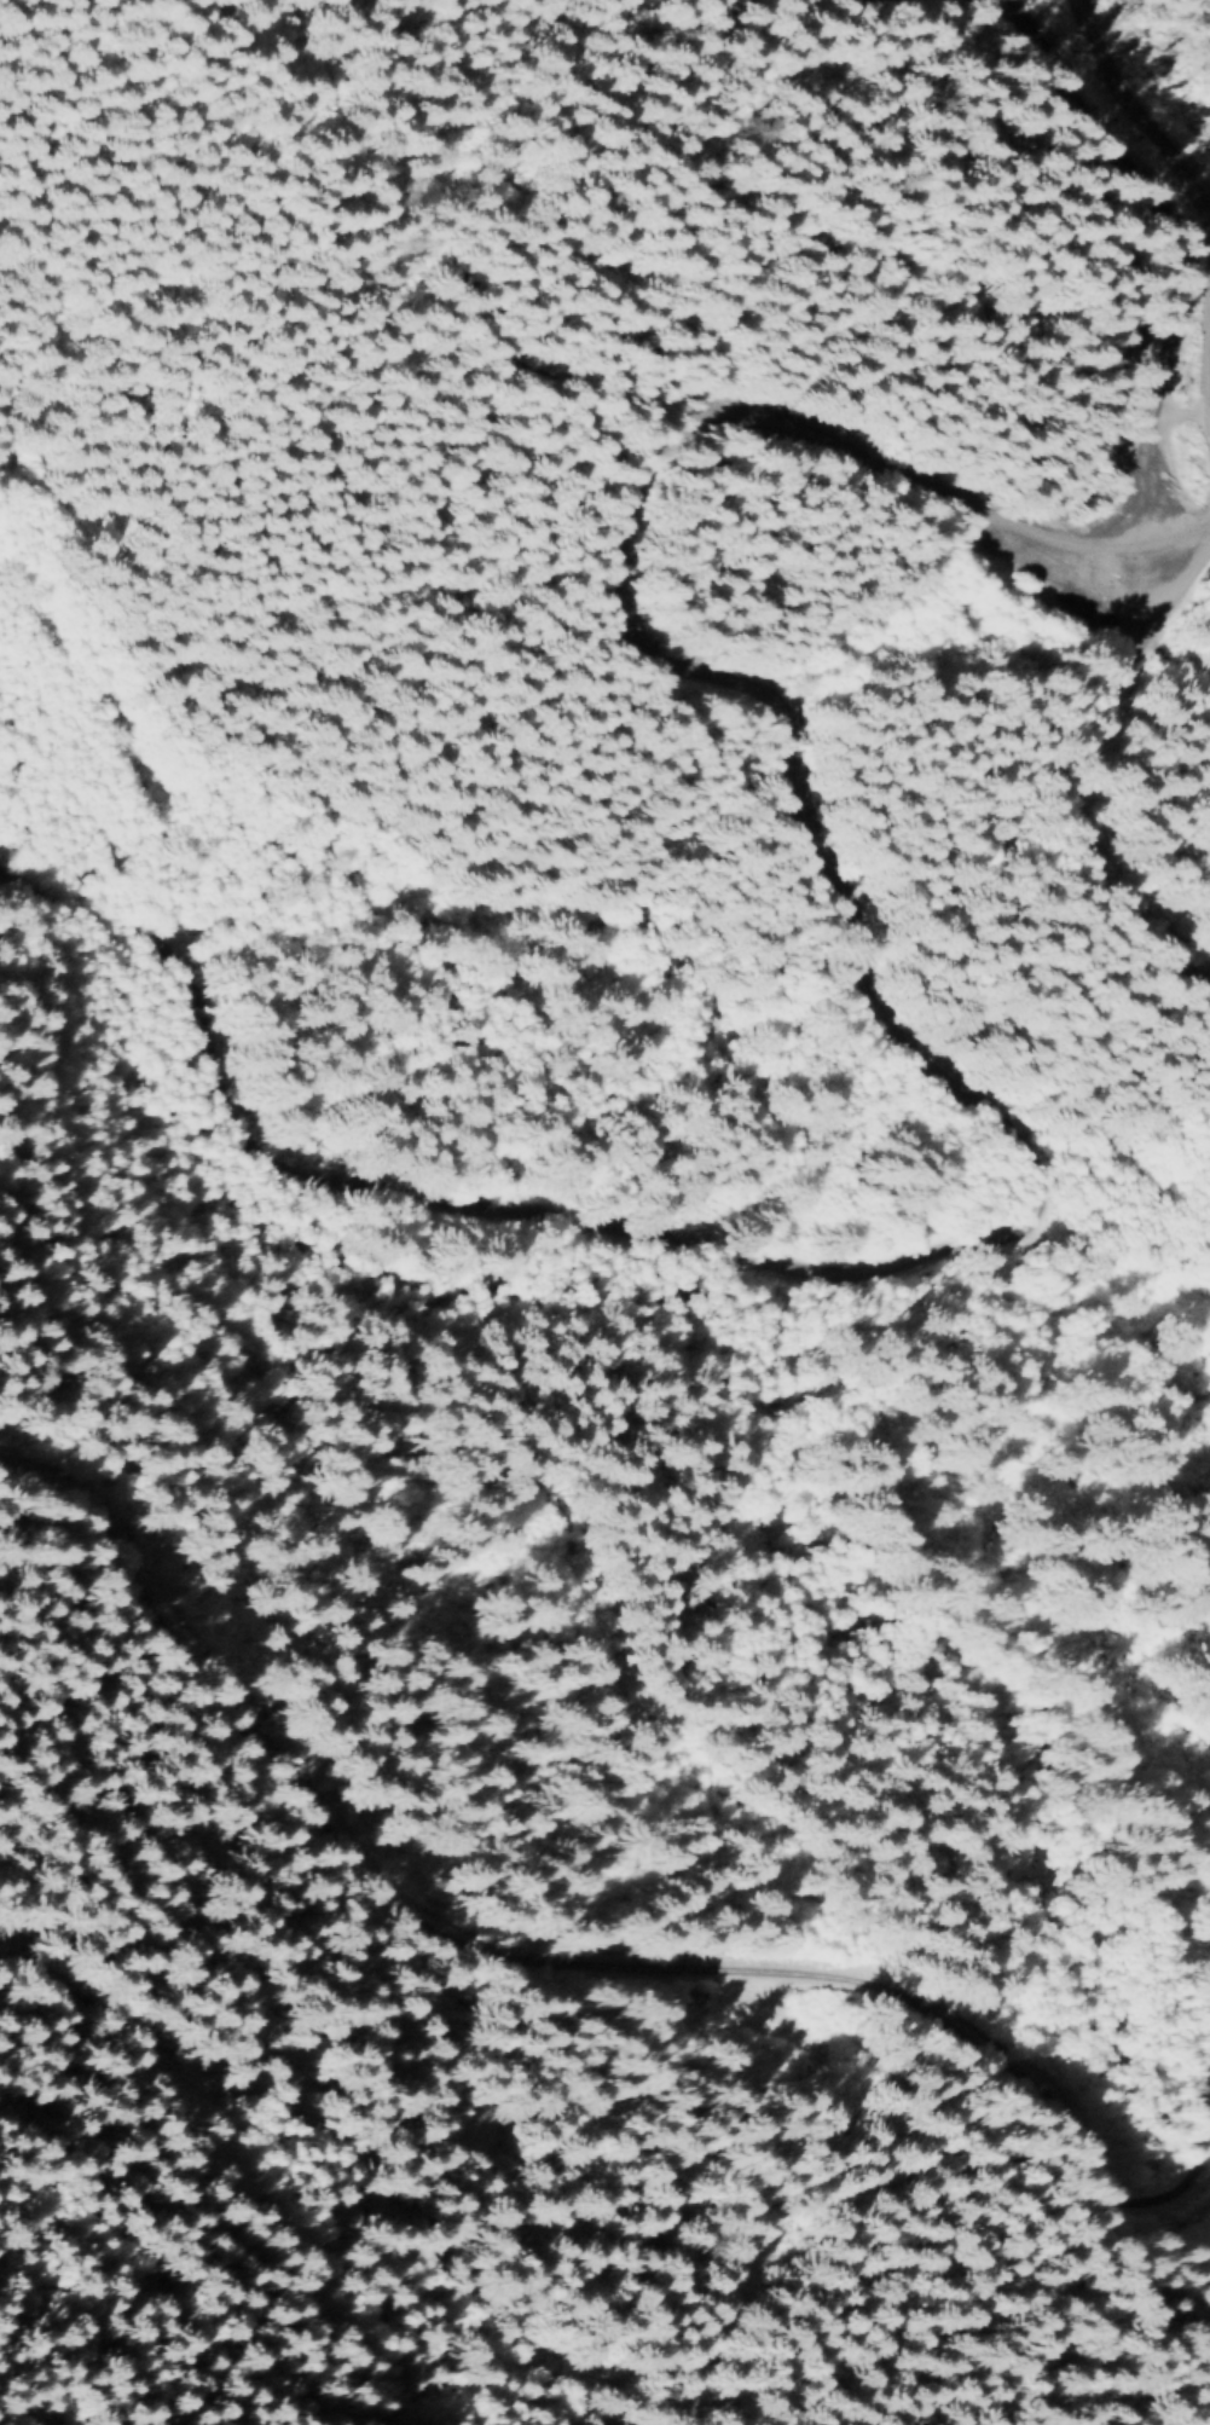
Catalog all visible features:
road: (1060, 230)
road: (1116, 775)
road: (1017, 1112)
road: (549, 1950)

